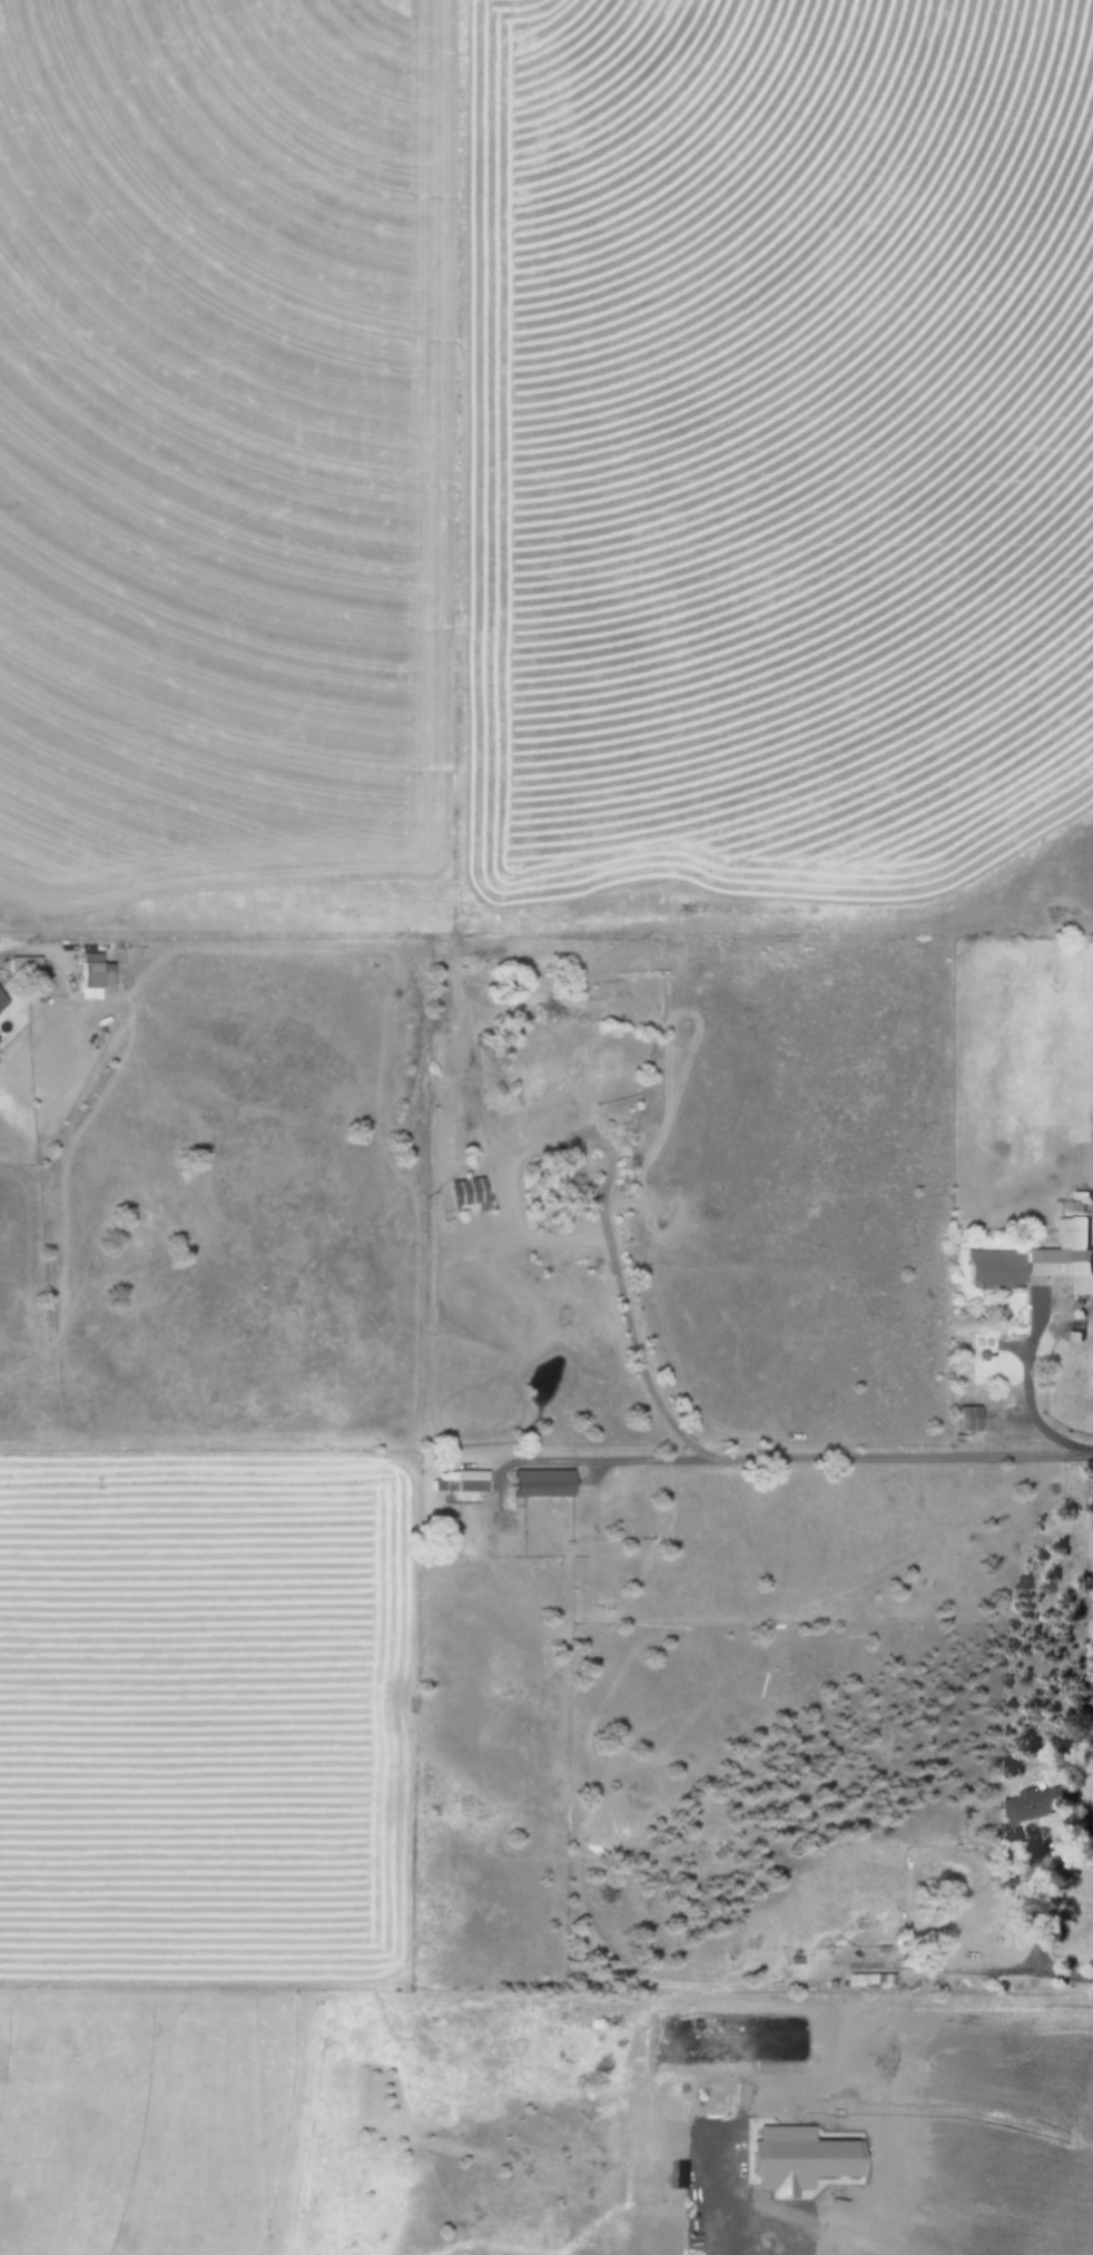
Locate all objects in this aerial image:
crop: (533, 419)
building: (20, 967)
building: (88, 974)
building: (1, 1000)
building: (551, 1111)
building: (449, 1134)
building: (467, 1192)
building: (1033, 1257)
building: (965, 1418)
road: (815, 1460)
building: (457, 1481)
building: (539, 1482)
building: (1033, 1803)
building: (868, 1978)
building: (833, 2157)

